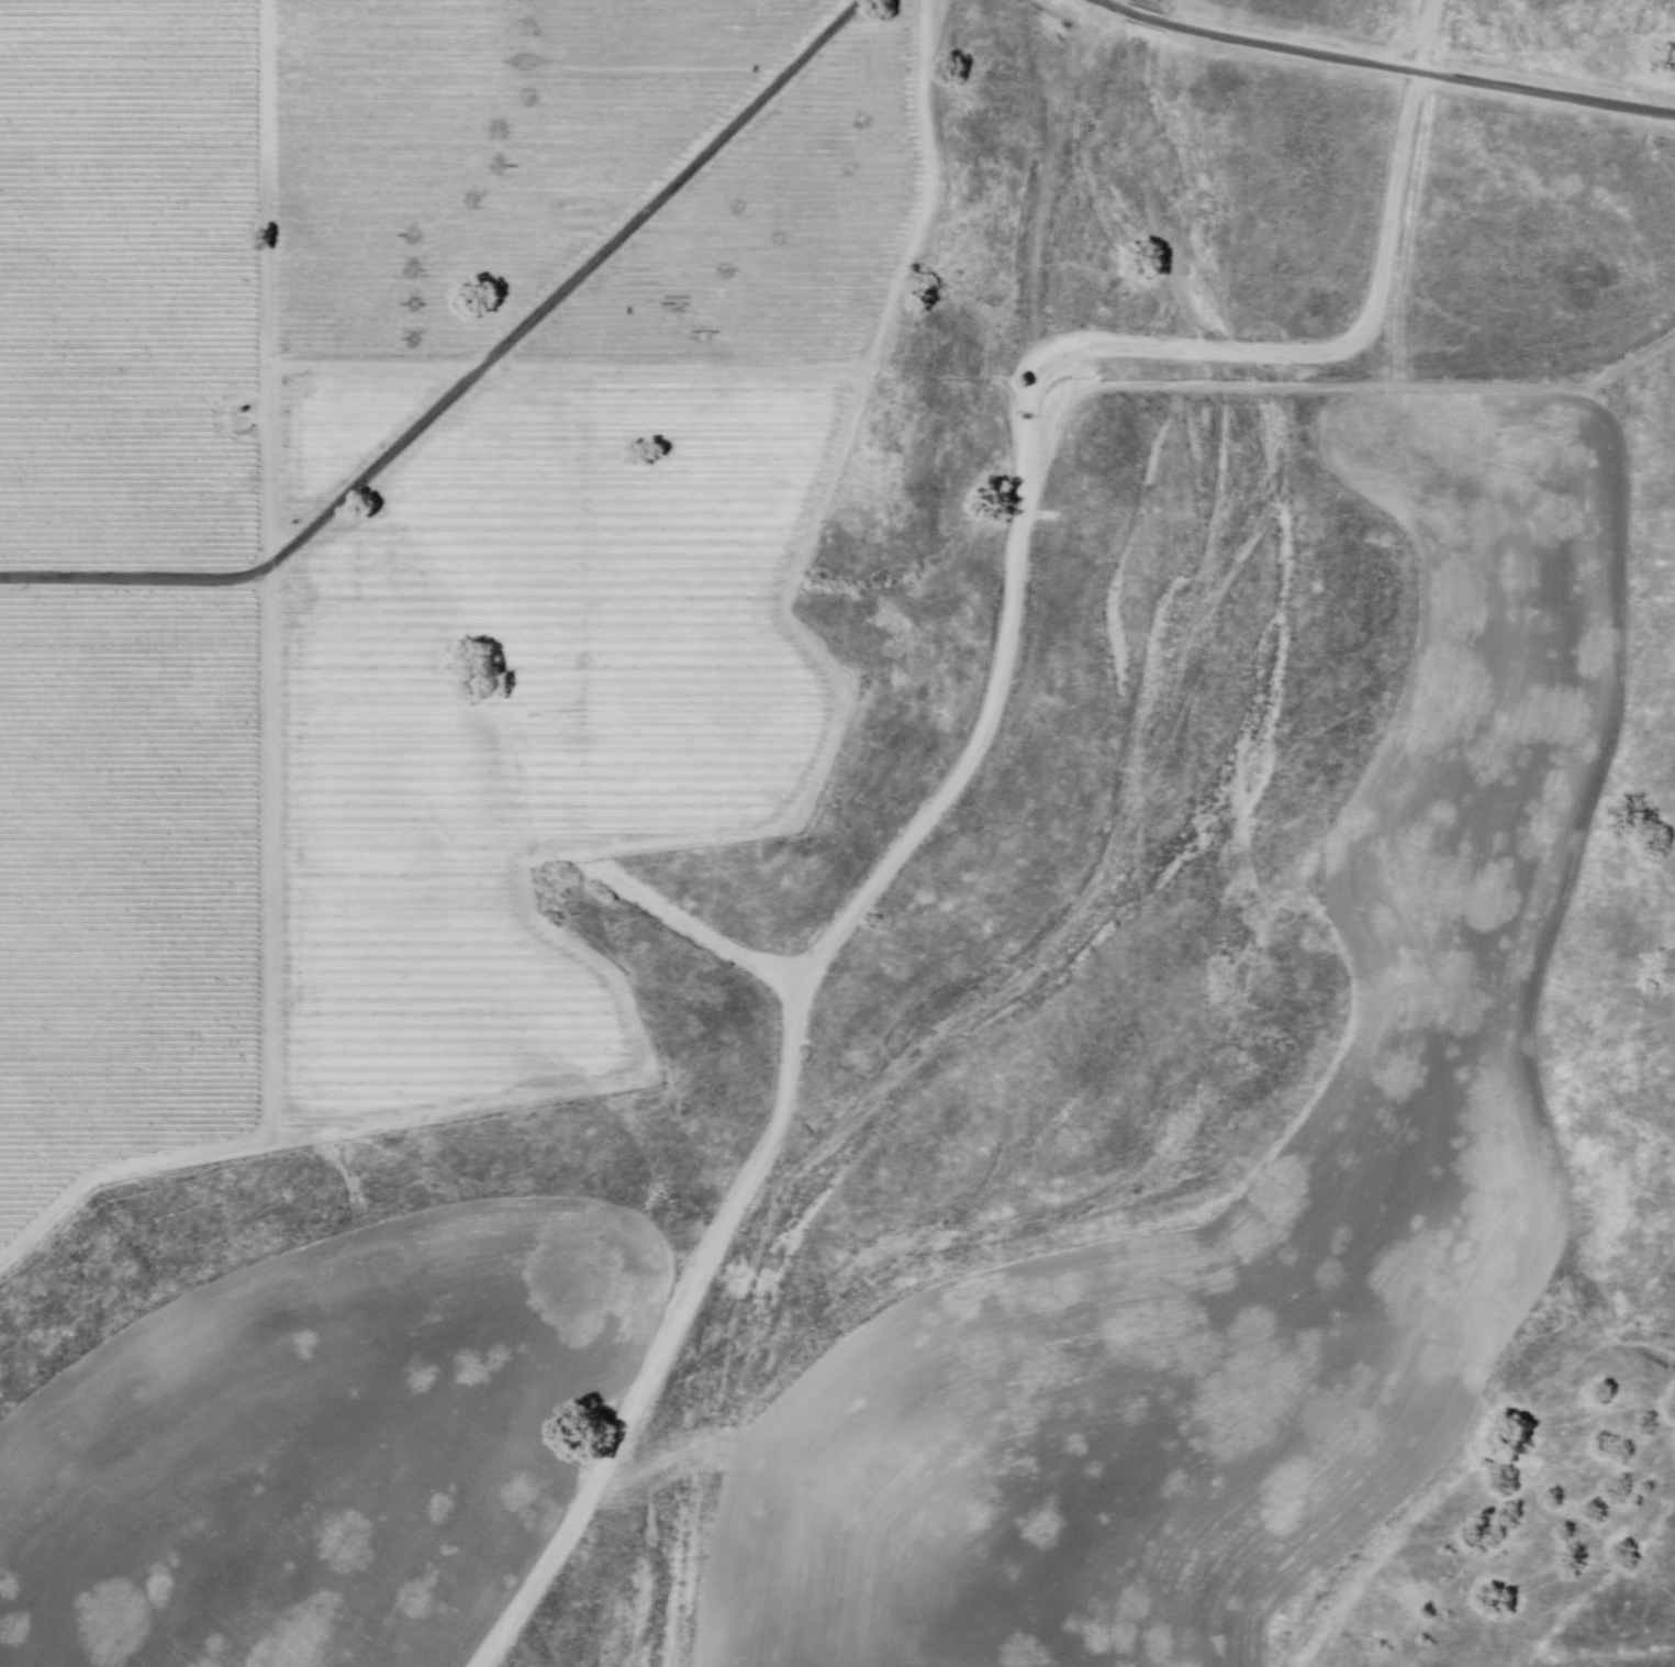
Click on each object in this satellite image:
road: (1387, 65)
road: (470, 379)
road: (1332, 388)
road: (976, 745)

